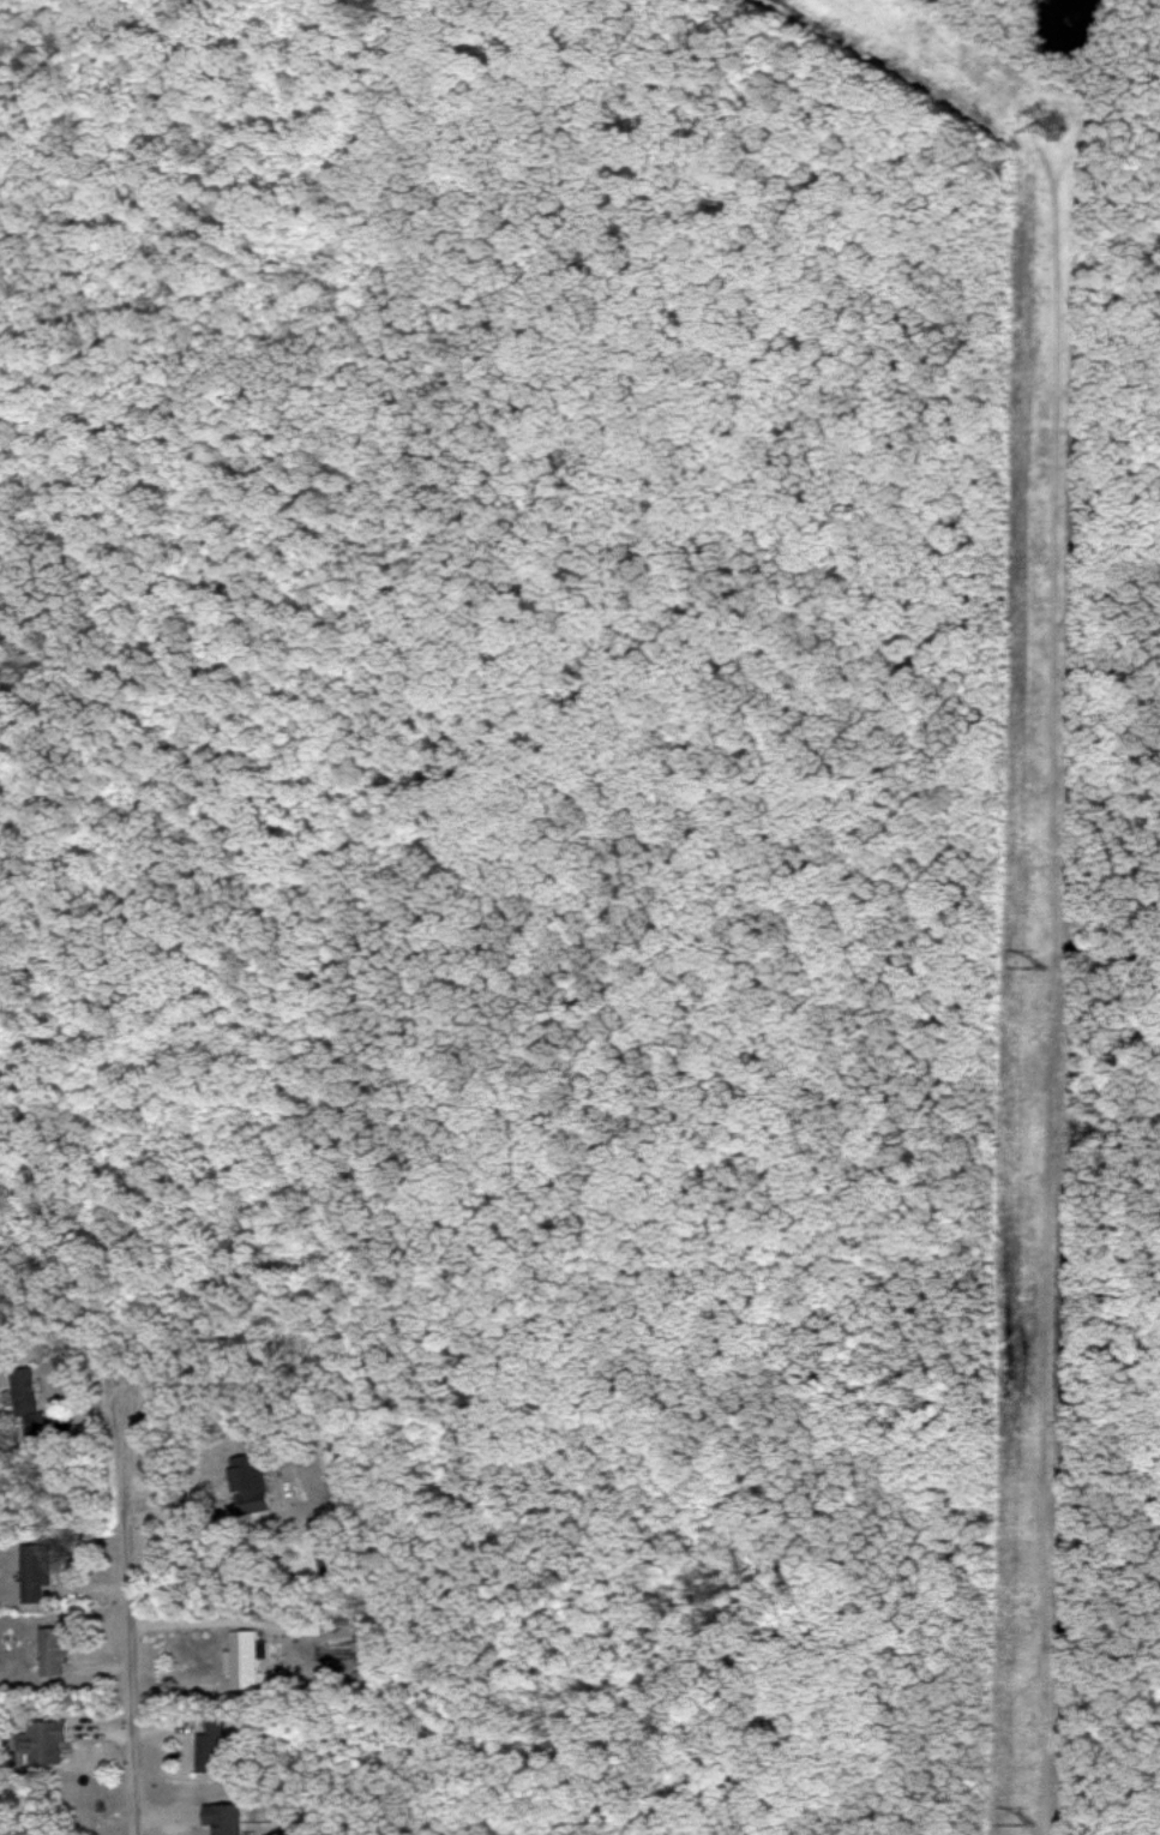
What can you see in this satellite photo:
building: (37, 1573)
road: (132, 1621)
building: (308, 1631)
building: (56, 1651)
building: (247, 1657)
building: (47, 1741)
building: (214, 1744)
building: (228, 1819)

